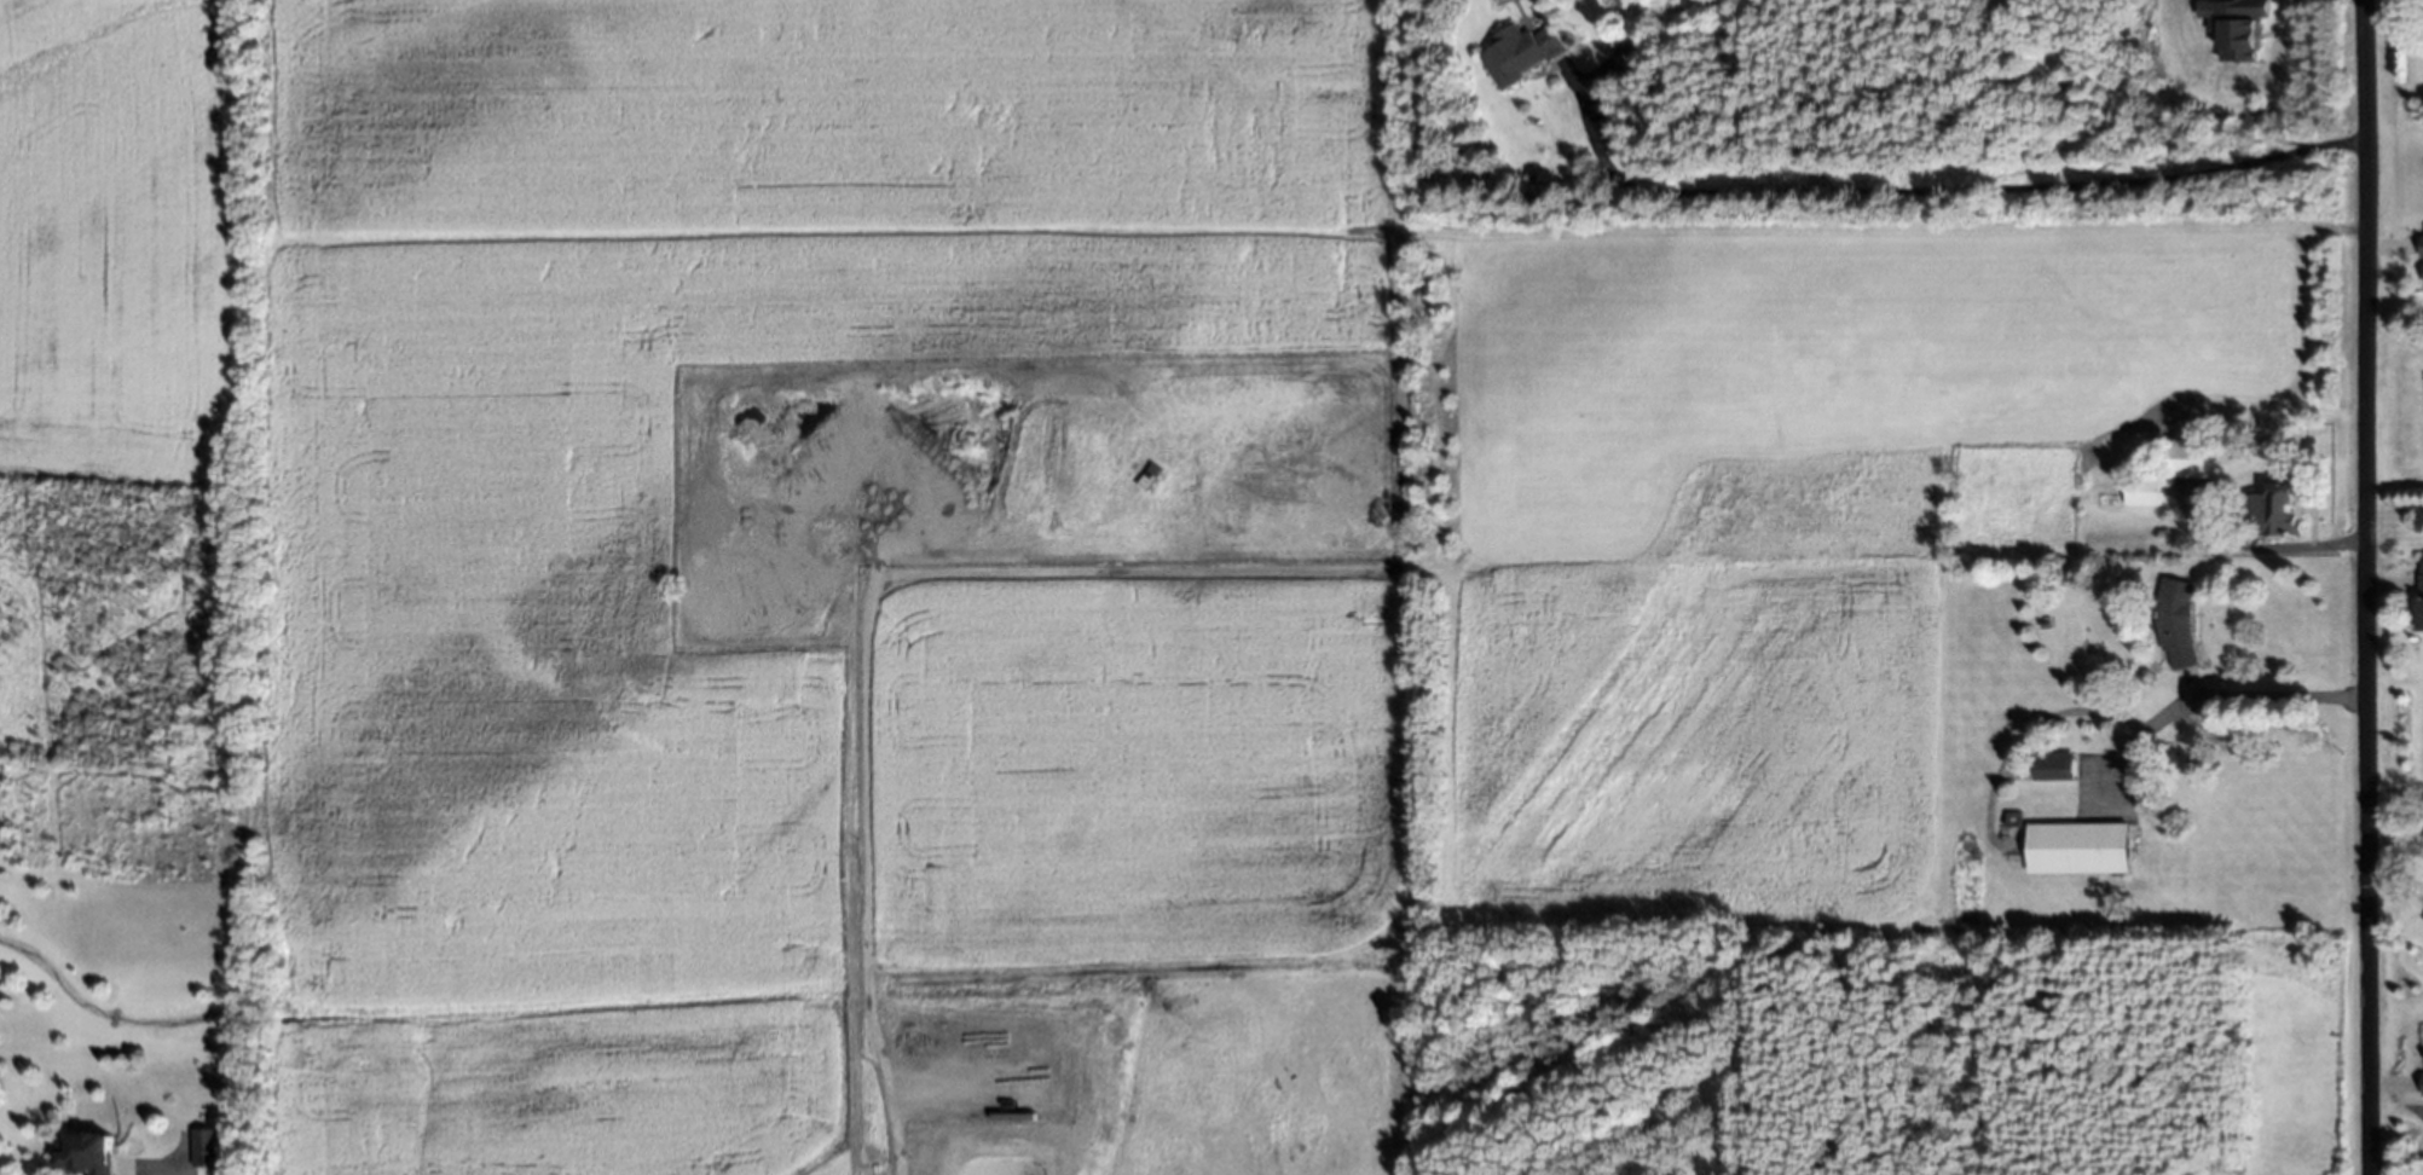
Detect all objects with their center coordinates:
building: (2239, 27)
building: (1521, 53)
building: (1635, 53)
road: (1953, 184)
building: (2421, 244)
building: (2192, 457)
building: (2144, 490)
building: (2263, 513)
road: (2261, 546)
building: (2421, 579)
road: (2367, 587)
building: (2178, 621)
road: (2215, 699)
building: (2053, 765)
building: (2013, 820)
building: (2077, 847)
building: (2422, 1082)
building: (208, 1146)
building: (88, 1153)
road: (170, 1171)

